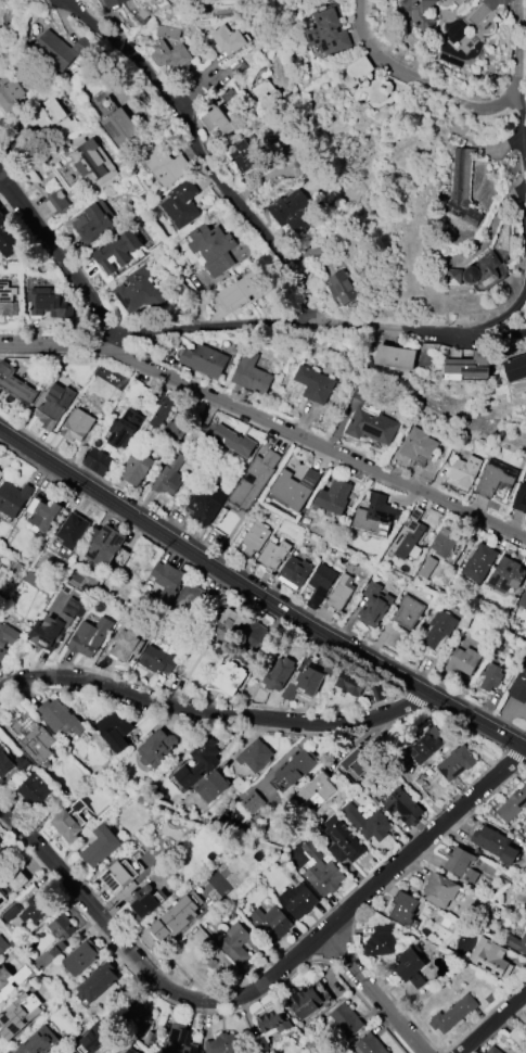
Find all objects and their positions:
building: (446, 0)
building: (454, 0)
building: (114, 2)
building: (493, 3)
building: (419, 13)
building: (329, 30)
building: (227, 39)
building: (55, 50)
road: (514, 51)
building: (174, 59)
road: (412, 81)
building: (367, 83)
building: (10, 94)
building: (268, 94)
building: (50, 119)
building: (218, 122)
building: (123, 128)
building: (245, 155)
road: (521, 158)
road: (208, 161)
building: (165, 164)
building: (95, 165)
building: (284, 169)
building: (463, 188)
building: (56, 202)
building: (182, 203)
building: (292, 212)
building: (93, 221)
building: (9, 239)
building: (211, 249)
building: (119, 250)
road: (55, 254)
building: (475, 272)
building: (343, 287)
building: (241, 290)
building: (139, 291)
building: (8, 300)
building: (50, 303)
road: (435, 329)
road: (206, 331)
road: (497, 337)
building: (396, 357)
building: (205, 360)
building: (467, 366)
building: (516, 368)
building: (252, 373)
building: (15, 384)
building: (315, 384)
building: (54, 406)
building: (163, 414)
building: (371, 416)
road: (267, 422)
building: (77, 426)
building: (126, 429)
building: (176, 429)
building: (234, 441)
building: (419, 446)
building: (98, 460)
building: (137, 467)
building: (0, 471)
building: (464, 472)
building: (1, 474)
building: (169, 474)
building: (496, 478)
building: (254, 480)
building: (295, 487)
building: (335, 496)
building: (13, 498)
building: (521, 498)
building: (206, 504)
building: (44, 516)
building: (376, 516)
building: (74, 530)
building: (256, 537)
building: (407, 540)
building: (445, 543)
building: (105, 545)
building: (274, 555)
building: (479, 562)
building: (295, 572)
building: (1, 573)
building: (508, 574)
building: (167, 578)
road: (259, 579)
building: (321, 584)
road: (260, 593)
building: (189, 598)
building: (337, 598)
building: (523, 599)
building: (374, 605)
building: (409, 611)
building: (228, 625)
building: (439, 630)
building: (47, 634)
building: (90, 636)
building: (256, 636)
building: (7, 639)
building: (127, 644)
building: (158, 660)
building: (464, 660)
building: (279, 674)
building: (227, 677)
building: (491, 677)
building: (311, 678)
building: (351, 682)
building: (519, 685)
road: (210, 712)
building: (61, 718)
building: (115, 731)
building: (34, 738)
building: (157, 747)
building: (426, 747)
building: (256, 756)
building: (357, 762)
building: (4, 763)
building: (457, 763)
building: (197, 765)
building: (297, 766)
building: (213, 787)
building: (34, 789)
building: (316, 790)
building: (513, 804)
building: (403, 807)
building: (368, 823)
building: (67, 826)
road: (297, 837)
building: (342, 841)
building: (495, 843)
building: (101, 846)
building: (461, 863)
building: (117, 874)
building: (324, 877)
building: (20, 879)
building: (440, 890)
building: (0, 901)
building: (298, 901)
building: (146, 902)
building: (38, 908)
building: (403, 908)
building: (10, 913)
building: (172, 918)
building: (270, 923)
building: (63, 927)
building: (382, 941)
building: (239, 943)
building: (517, 943)
building: (3, 946)
building: (488, 956)
building: (82, 957)
building: (411, 966)
building: (422, 977)
building: (11, 978)
building: (98, 982)
road: (265, 982)
road: (381, 993)
building: (306, 1001)
road: (103, 1008)
building: (20, 1014)
building: (453, 1014)
building: (141, 1016)
building: (344, 1020)
building: (273, 1022)
road: (493, 1022)
building: (101, 1032)
building: (179, 1040)
building: (39, 1042)
building: (221, 1044)
building: (370, 1044)
building: (493, 1050)

